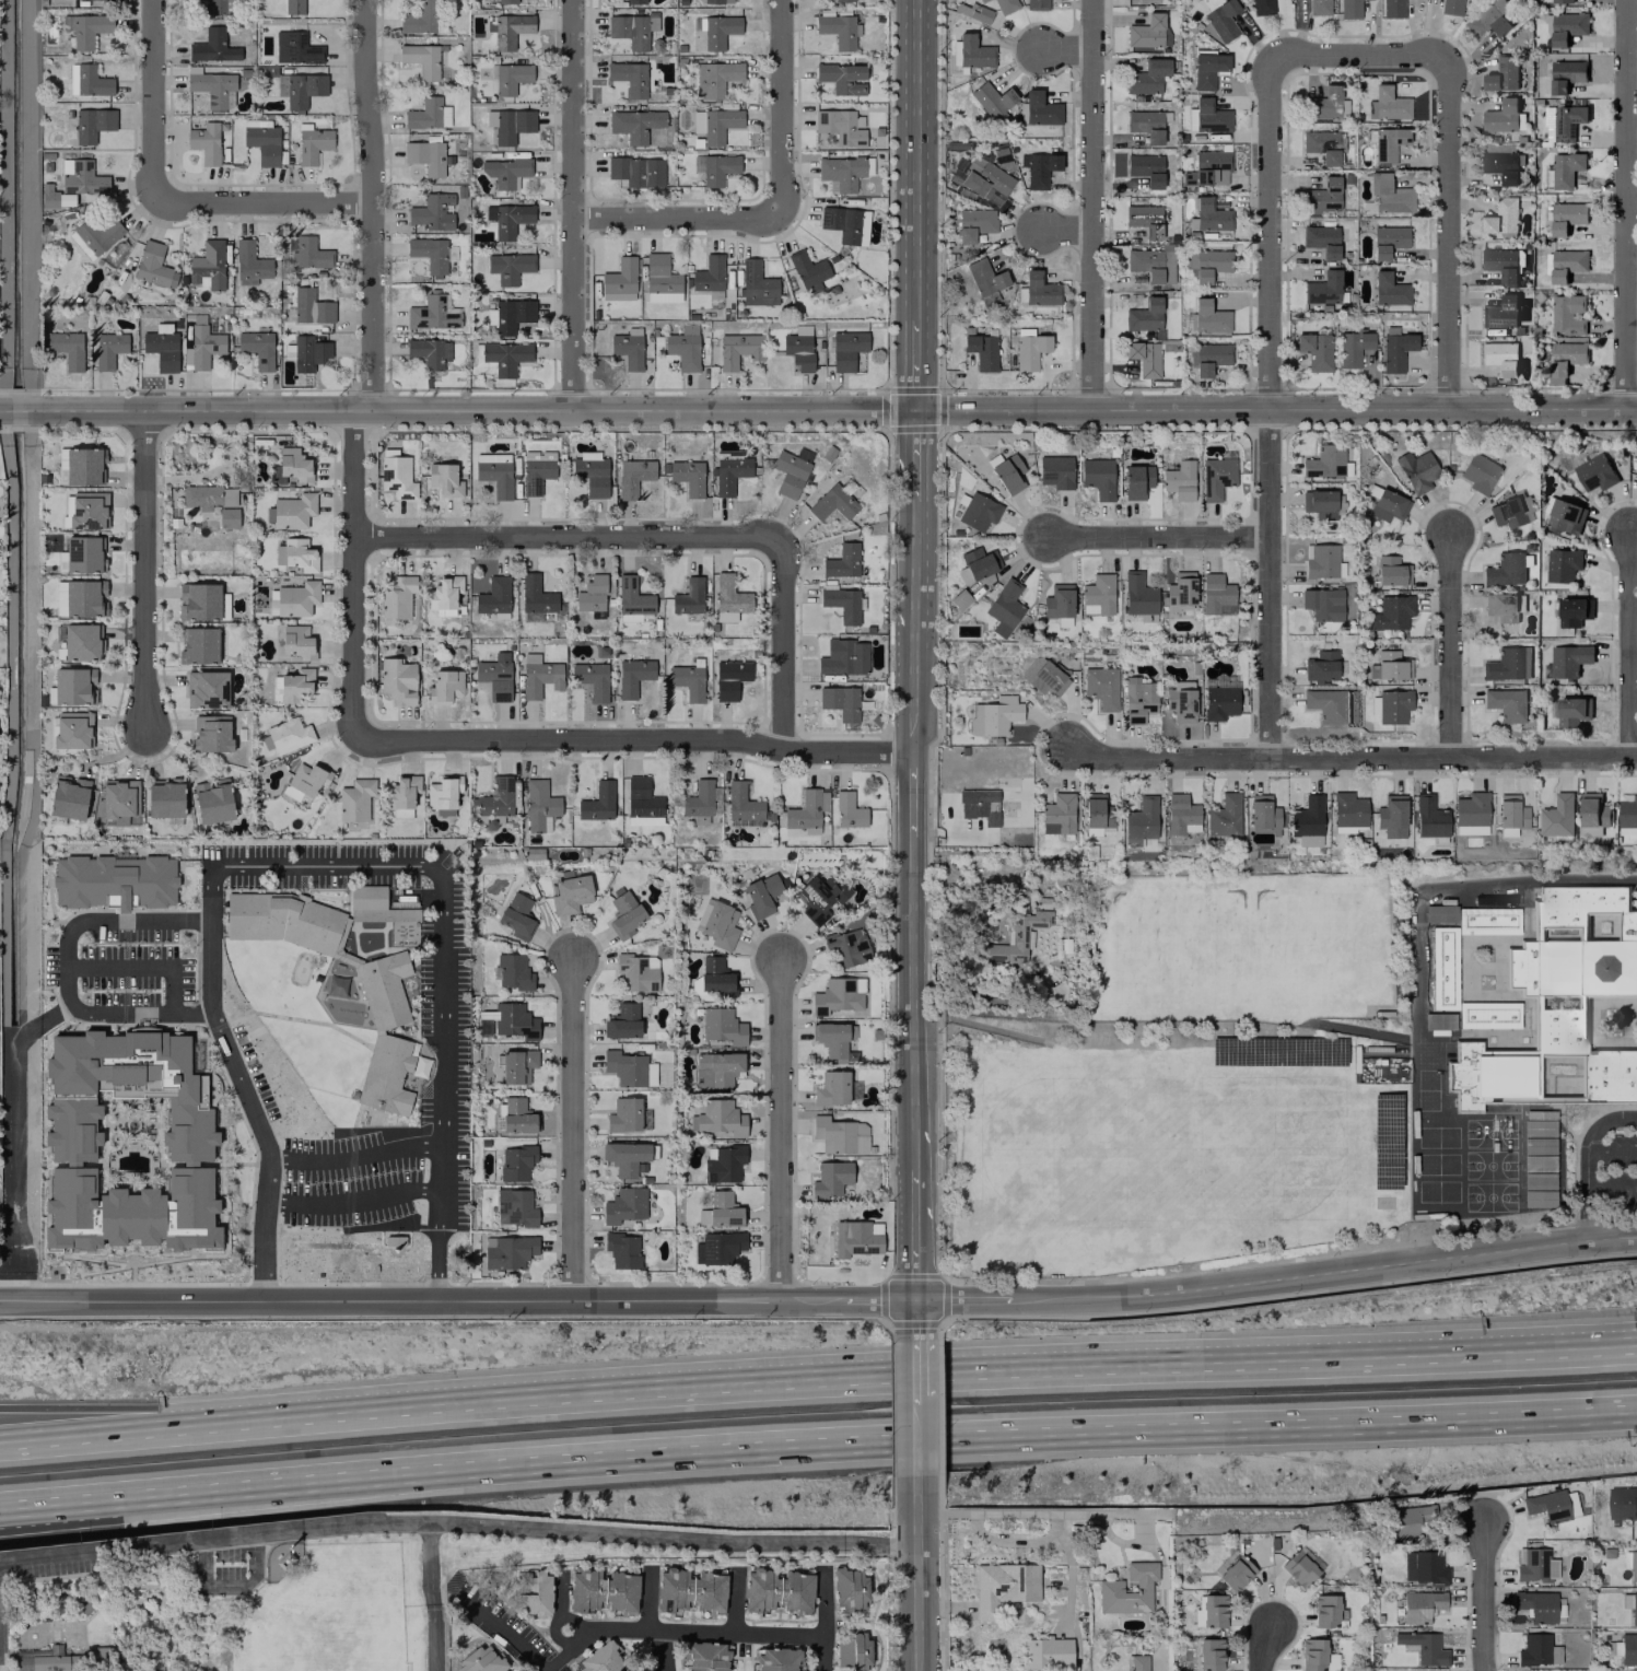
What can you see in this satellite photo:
building: (843, 0)
building: (981, 0)
building: (505, 1)
building: (634, 1)
building: (716, 1)
building: (1562, 1)
building: (1036, 4)
building: (1004, 5)
building: (219, 7)
building: (293, 7)
building: (1261, 7)
building: (1318, 7)
building: (1450, 7)
building: (1392, 8)
building: (1348, 9)
building: (980, 13)
building: (1219, 16)
building: (419, 17)
building: (1487, 19)
building: (507, 28)
building: (87, 30)
building: (718, 30)
building: (838, 30)
building: (632, 31)
building: (1147, 33)
building: (211, 45)
building: (295, 47)
building: (972, 51)
road: (1361, 56)
building: (421, 58)
building: (1207, 69)
building: (1566, 74)
building: (628, 77)
building: (1147, 77)
building: (1502, 77)
building: (510, 78)
building: (715, 78)
building: (842, 78)
building: (87, 80)
building: (211, 86)
building: (303, 89)
road: (155, 101)
building: (992, 102)
building: (1323, 103)
building: (1387, 104)
road: (780, 105)
building: (1040, 108)
building: (428, 114)
building: (1209, 116)
building: (1500, 117)
building: (1563, 121)
building: (92, 124)
building: (634, 124)
building: (715, 124)
building: (512, 125)
building: (1146, 125)
building: (841, 126)
building: (209, 142)
building: (262, 142)
building: (312, 143)
building: (1388, 143)
building: (1321, 145)
building: (425, 156)
road: (911, 159)
building: (1500, 162)
building: (717, 168)
building: (1145, 168)
building: (1207, 168)
building: (1564, 168)
building: (1040, 170)
building: (636, 171)
building: (504, 172)
building: (840, 172)
building: (83, 178)
building: (984, 178)
building: (1390, 194)
building: (48, 196)
building: (1322, 196)
road: (268, 205)
road: (570, 205)
road: (1623, 205)
road: (1094, 206)
building: (432, 211)
building: (1209, 214)
building: (1501, 217)
building: (1566, 217)
road: (673, 218)
building: (507, 219)
building: (1144, 219)
building: (974, 223)
building: (844, 224)
road: (1267, 233)
road: (1448, 233)
building: (94, 236)
building: (1321, 239)
building: (1388, 241)
building: (308, 254)
building: (431, 254)
building: (249, 262)
building: (208, 264)
building: (1150, 264)
building: (1206, 264)
building: (153, 265)
building: (1500, 265)
building: (1566, 265)
building: (508, 267)
building: (807, 270)
building: (659, 274)
building: (708, 274)
building: (619, 276)
building: (985, 277)
building: (756, 282)
building: (1323, 288)
building: (1039, 289)
building: (1389, 289)
building: (617, 295)
building: (311, 306)
building: (432, 313)
building: (1499, 313)
building: (1568, 314)
building: (508, 315)
building: (1144, 315)
building: (1208, 316)
building: (203, 342)
building: (682, 347)
building: (798, 347)
building: (1353, 347)
building: (257, 348)
building: (628, 348)
building: (1029, 348)
building: (66, 349)
building: (108, 349)
building: (161, 349)
building: (737, 349)
building: (845, 349)
building: (1395, 349)
building: (981, 350)
building: (1316, 350)
building: (308, 352)
building: (429, 352)
building: (504, 357)
building: (1144, 357)
building: (1500, 357)
building: (1209, 358)
building: (1565, 359)
road: (911, 364)
road: (367, 369)
road: (818, 411)
road: (911, 458)
building: (1324, 461)
building: (293, 464)
building: (79, 466)
building: (536, 469)
building: (728, 470)
building: (1416, 470)
building: (1055, 471)
building: (1478, 472)
building: (1594, 472)
building: (790, 474)
building: (1008, 474)
building: (396, 475)
building: (591, 475)
building: (632, 476)
building: (687, 476)
building: (494, 477)
building: (1098, 477)
building: (1216, 477)
building: (443, 479)
building: (1179, 480)
building: (1136, 481)
building: (208, 496)
building: (832, 503)
building: (1322, 503)
building: (1385, 504)
building: (87, 511)
building: (292, 511)
building: (978, 511)
building: (1511, 511)
building: (1565, 516)
building: (227, 517)
road: (1158, 538)
road: (569, 540)
building: (83, 553)
building: (295, 554)
building: (842, 560)
building: (1321, 561)
building: (979, 562)
building: (1563, 564)
building: (1505, 569)
road: (143, 571)
building: (1391, 571)
road: (1270, 582)
building: (444, 592)
building: (1180, 592)
building: (591, 593)
building: (1214, 593)
building: (535, 594)
building: (493, 595)
building: (1097, 595)
building: (688, 596)
building: (80, 597)
building: (396, 597)
building: (295, 598)
building: (728, 598)
building: (631, 599)
building: (198, 600)
building: (1057, 600)
building: (841, 603)
building: (1322, 604)
building: (1500, 606)
building: (1003, 607)
building: (1574, 611)
building: (1391, 612)
road: (912, 628)
building: (296, 641)
building: (81, 642)
road: (1452, 644)
building: (198, 645)
road: (780, 646)
road: (1632, 647)
building: (843, 657)
building: (1568, 659)
building: (1507, 664)
building: (1391, 665)
building: (1320, 666)
building: (538, 675)
building: (632, 675)
building: (1043, 676)
building: (493, 678)
building: (729, 678)
building: (592, 679)
building: (397, 680)
building: (687, 680)
building: (73, 685)
building: (291, 685)
building: (444, 686)
building: (1101, 686)
building: (206, 689)
building: (1138, 700)
building: (840, 701)
building: (1180, 701)
building: (1219, 702)
building: (1506, 703)
building: (1325, 704)
building: (1391, 705)
building: (1572, 711)
building: (992, 717)
building: (72, 729)
building: (211, 733)
building: (288, 735)
road: (634, 738)
road: (1349, 756)
building: (307, 778)
building: (294, 794)
building: (443, 794)
road: (913, 794)
building: (401, 795)
building: (68, 796)
building: (165, 797)
building: (495, 797)
building: (354, 799)
building: (118, 801)
building: (212, 801)
building: (597, 802)
building: (641, 802)
building: (698, 802)
building: (979, 804)
building: (539, 805)
building: (740, 805)
building: (806, 810)
building: (847, 810)
building: (1347, 813)
building: (1057, 814)
building: (1470, 814)
building: (1593, 814)
building: (1627, 814)
building: (1096, 815)
building: (1180, 815)
building: (1262, 815)
building: (1509, 815)
building: (1223, 816)
building: (1391, 816)
building: (1558, 816)
building: (1428, 817)
building: (1141, 818)
building: (1306, 821)
building: (113, 880)
road: (1470, 886)
building: (570, 893)
building: (761, 893)
building: (818, 898)
building: (371, 901)
building: (623, 912)
building: (1439, 913)
building: (516, 915)
building: (1489, 921)
building: (287, 923)
building: (716, 924)
road: (210, 938)
building: (1012, 939)
building: (846, 946)
park: (1240, 947)
road: (141, 967)
road: (68, 968)
building: (1445, 968)
building: (513, 971)
building: (636, 971)
building: (715, 975)
parking lot: (442, 993)
building: (388, 994)
building: (838, 995)
road: (915, 1002)
building: (1565, 1007)
building: (1489, 1015)
building: (511, 1020)
building: (622, 1020)
building: (1439, 1020)
building: (722, 1025)
building: (832, 1038)
park: (1377, 1061)
building: (516, 1065)
building: (628, 1068)
building: (715, 1070)
building: (389, 1083)
building: (831, 1088)
building: (515, 1114)
building: (623, 1114)
building: (718, 1118)
road: (443, 1120)
road: (572, 1129)
road: (782, 1132)
building: (839, 1135)
road: (19, 1137)
building: (72, 1140)
park: (1436, 1145)
park: (1161, 1148)
road: (1612, 1150)
building: (623, 1157)
road: (1586, 1160)
building: (516, 1161)
building: (723, 1162)
park: (1505, 1165)
parking lot: (1609, 1166)
building: (830, 1178)
road: (1611, 1187)
building: (623, 1205)
building: (515, 1207)
building: (720, 1210)
road: (917, 1236)
building: (856, 1237)
building: (717, 1247)
building: (621, 1249)
building: (507, 1251)
road: (819, 1304)
road: (919, 1319)
road: (1621, 1345)
road: (1621, 1347)
road: (948, 1375)
road: (147, 1406)
road: (1597, 1409)
road: (919, 1410)
road: (1597, 1414)
road: (147, 1425)
road: (910, 1440)
road: (132, 1491)
road: (917, 1500)
road: (132, 1503)
building: (1622, 1503)
building: (1547, 1505)
road: (1042, 1515)
building: (1411, 1520)
road: (458, 1530)
building: (1534, 1564)
building: (1633, 1565)
building: (1300, 1567)
building: (1424, 1567)
road: (1069, 1571)
building: (1236, 1573)
building: (1109, 1586)
building: (847, 1587)
building: (1003, 1587)
building: (777, 1589)
building: (603, 1590)
building: (690, 1590)
building: (533, 1592)
road: (917, 1593)
road: (651, 1596)
road: (560, 1598)
road: (434, 1600)
road: (737, 1600)
road: (1484, 1600)
building: (1420, 1605)
building: (1633, 1609)
building: (1328, 1610)
building: (1211, 1611)
road: (826, 1620)
road: (495, 1625)
road: (668, 1629)
road: (1261, 1647)
building: (1424, 1647)
road: (663, 1650)
building: (852, 1650)
building: (1537, 1650)
building: (1046, 1652)
building: (1209, 1655)
building: (1317, 1656)
building: (601, 1658)
building: (777, 1659)
building: (46, 1660)
building: (482, 1661)
building: (1138, 1662)

